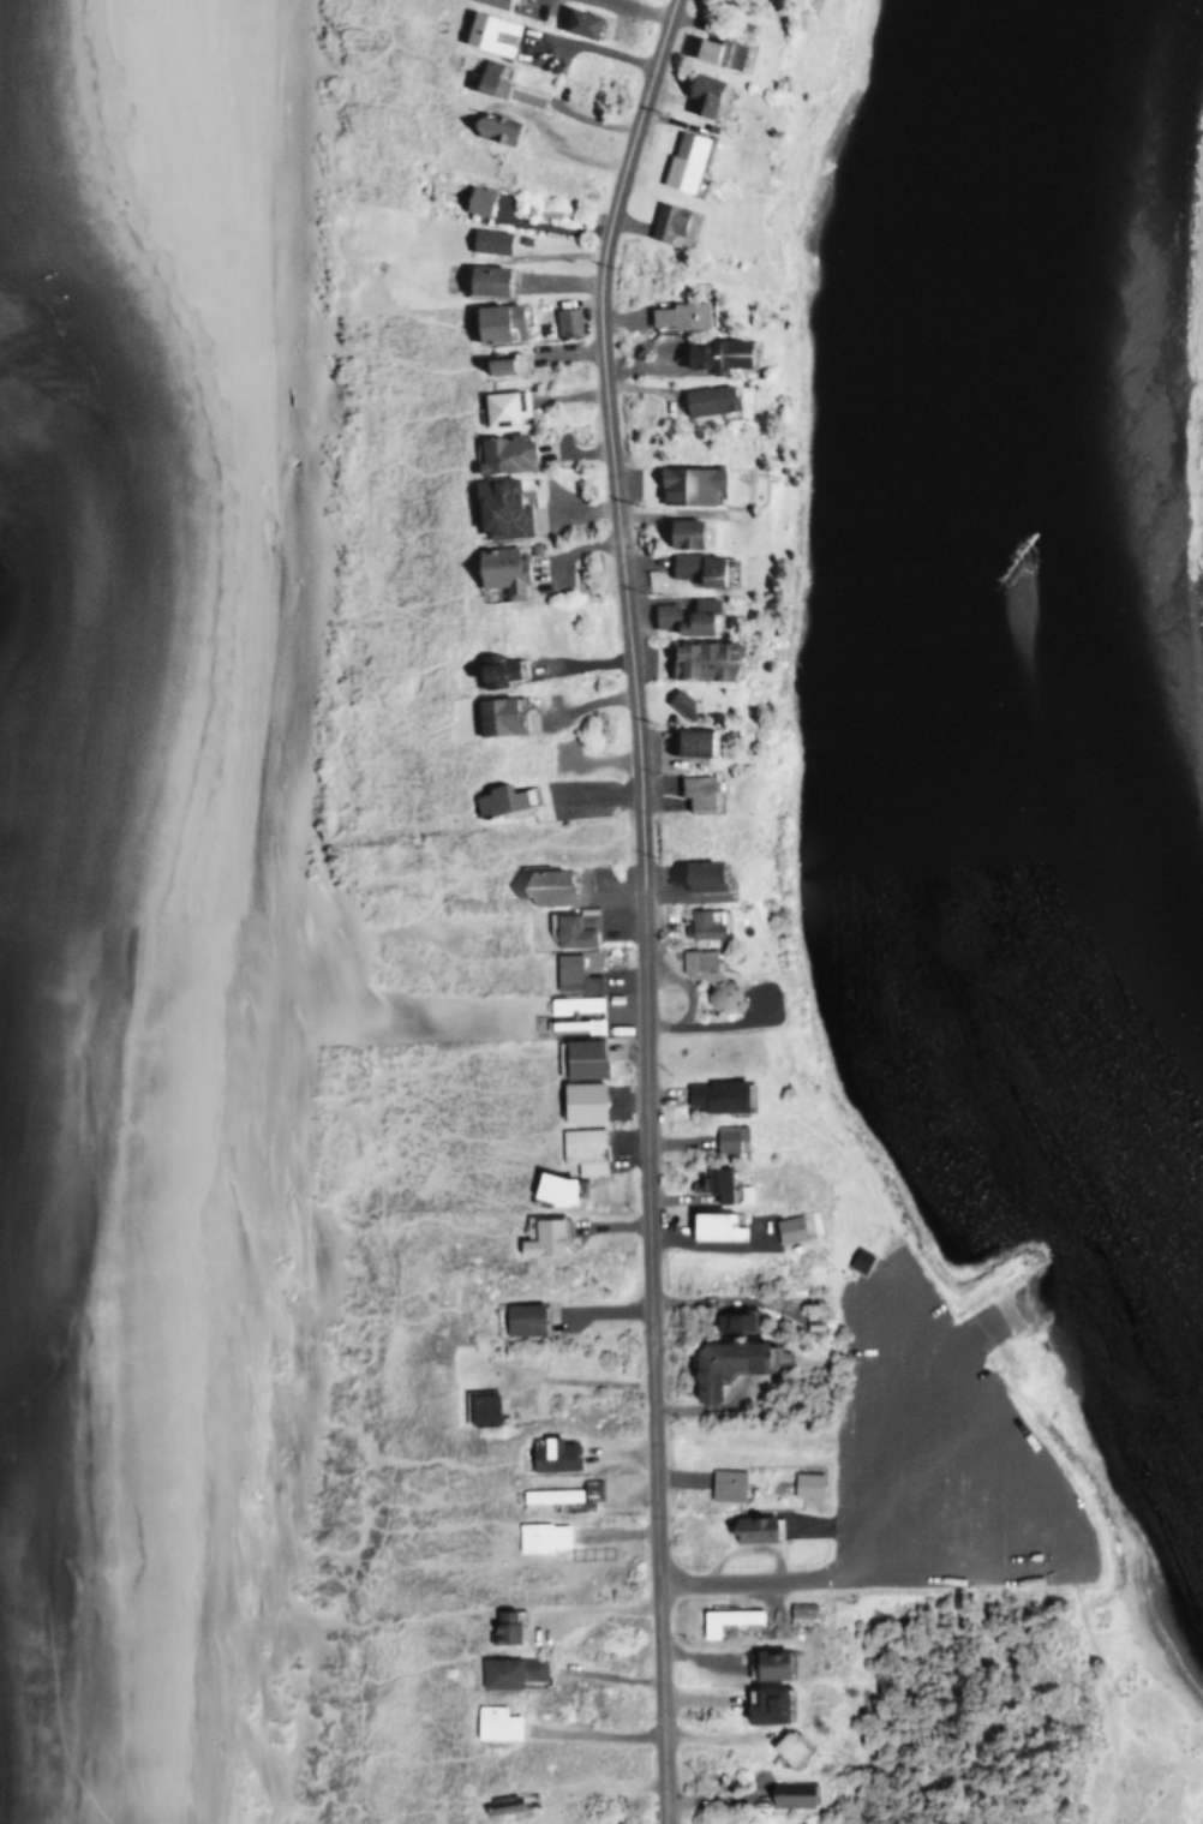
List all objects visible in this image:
building: (489, 2)
building: (577, 20)
road: (373, 23)
building: (481, 30)
building: (719, 46)
building: (481, 77)
road: (371, 78)
building: (699, 90)
building: (486, 126)
building: (682, 160)
building: (473, 198)
building: (669, 220)
building: (485, 239)
building: (480, 277)
road: (377, 307)
building: (677, 313)
building: (493, 321)
building: (564, 321)
road: (388, 353)
building: (712, 353)
building: (492, 364)
building: (706, 397)
building: (499, 405)
road: (389, 419)
building: (499, 451)
road: (390, 456)
building: (684, 483)
building: (496, 507)
building: (680, 531)
road: (408, 533)
building: (693, 566)
building: (496, 568)
road: (407, 604)
building: (686, 615)
road: (626, 630)
building: (700, 658)
building: (492, 669)
road: (411, 670)
river: (983, 692)
building: (677, 700)
building: (493, 716)
road: (412, 719)
building: (687, 741)
building: (696, 791)
building: (498, 797)
building: (696, 874)
building: (541, 885)
building: (698, 923)
building: (569, 928)
building: (569, 974)
building: (708, 980)
building: (574, 1011)
building: (575, 1058)
building: (710, 1094)
building: (574, 1101)
building: (725, 1136)
building: (580, 1148)
building: (713, 1182)
building: (545, 1188)
road: (411, 1219)
building: (708, 1226)
building: (784, 1227)
building: (538, 1237)
building: (854, 1258)
road: (999, 1316)
road: (401, 1317)
building: (515, 1317)
building: (730, 1321)
building: (724, 1363)
building: (474, 1407)
building: (546, 1453)
road: (403, 1458)
building: (802, 1483)
building: (723, 1484)
road: (1054, 1485)
building: (563, 1494)
road: (430, 1501)
road: (435, 1523)
building: (747, 1527)
building: (539, 1535)
road: (658, 1548)
building: (798, 1608)
road: (399, 1617)
building: (722, 1617)
building: (736, 1626)
building: (499, 1627)
building: (760, 1661)
building: (505, 1670)
road: (387, 1674)
building: (756, 1700)
building: (491, 1722)
building: (782, 1745)
road: (387, 1747)
building: (786, 1792)
road: (376, 1812)

